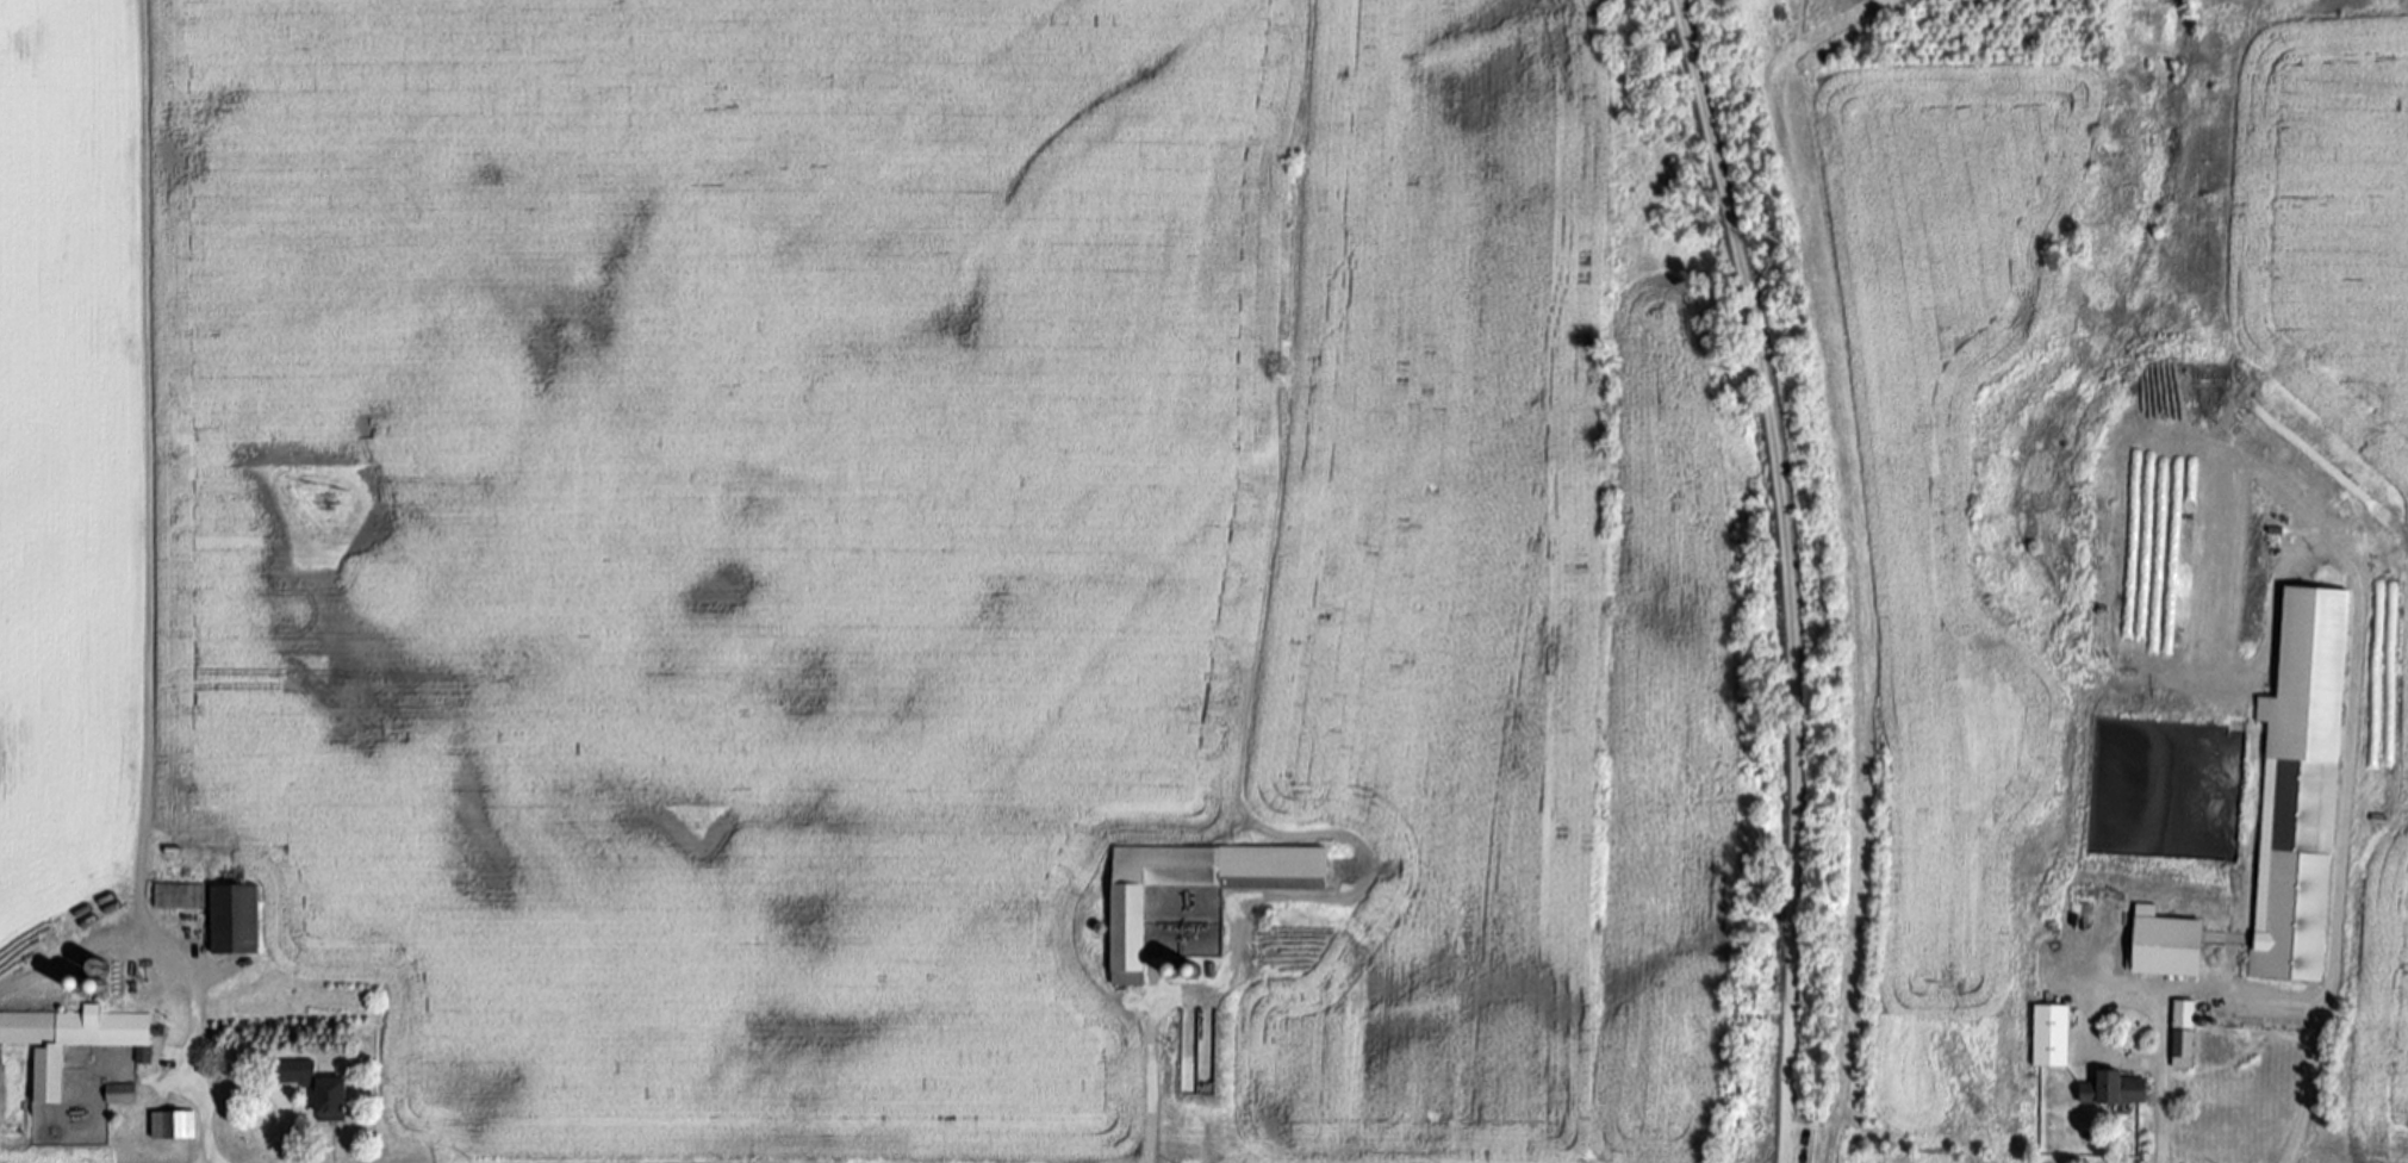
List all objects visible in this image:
road: (1807, 577)
road: (145, 776)
building: (2304, 790)
road: (2117, 829)
building: (181, 896)
building: (239, 920)
building: (1134, 938)
building: (2170, 945)
road: (2223, 991)
building: (2184, 1032)
building: (2053, 1037)
building: (73, 1040)
road: (2160, 1076)
road: (1151, 1081)
building: (326, 1090)
building: (2117, 1090)
road: (241, 1092)
building: (123, 1094)
building: (176, 1126)

